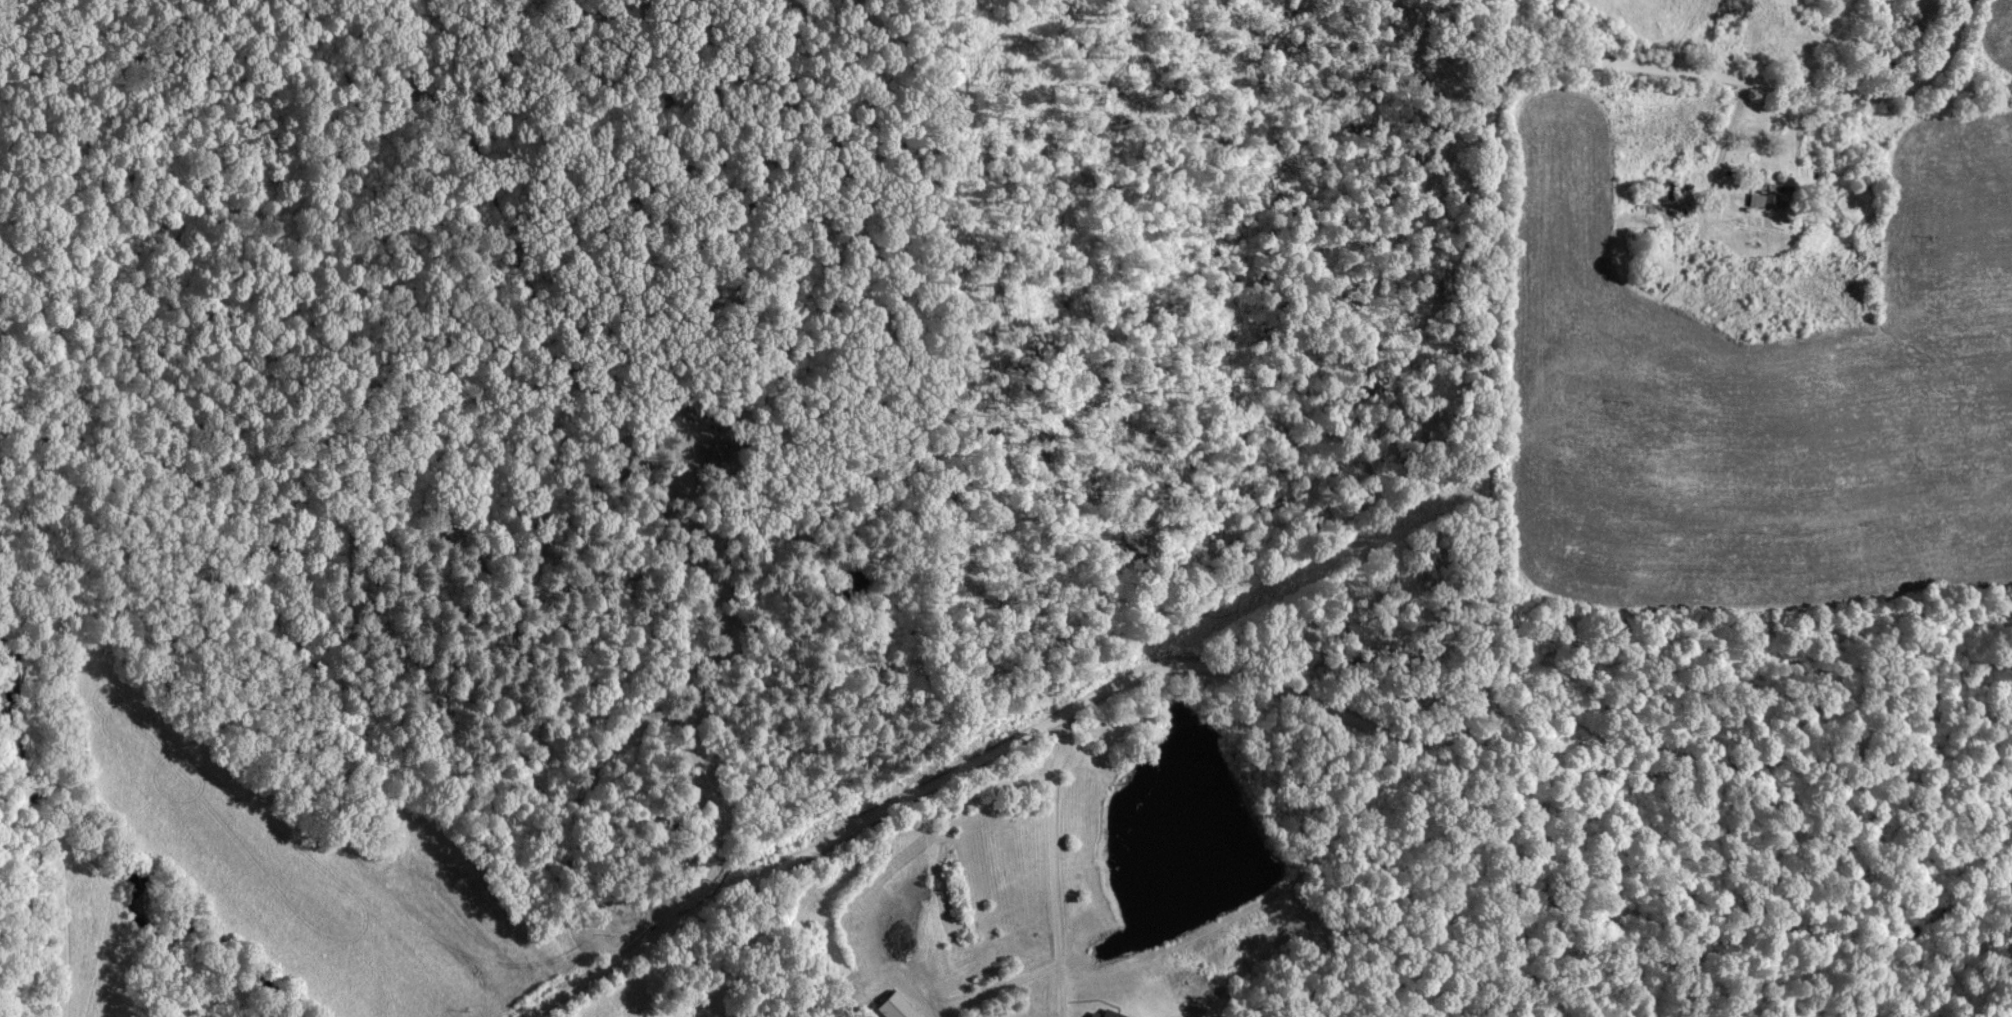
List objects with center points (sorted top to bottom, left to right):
building: (1728, 7)
road: (1725, 145)
building: (1656, 190)
building: (1760, 198)
road: (1479, 658)
road: (1052, 864)
building: (893, 1006)
building: (1103, 1013)

